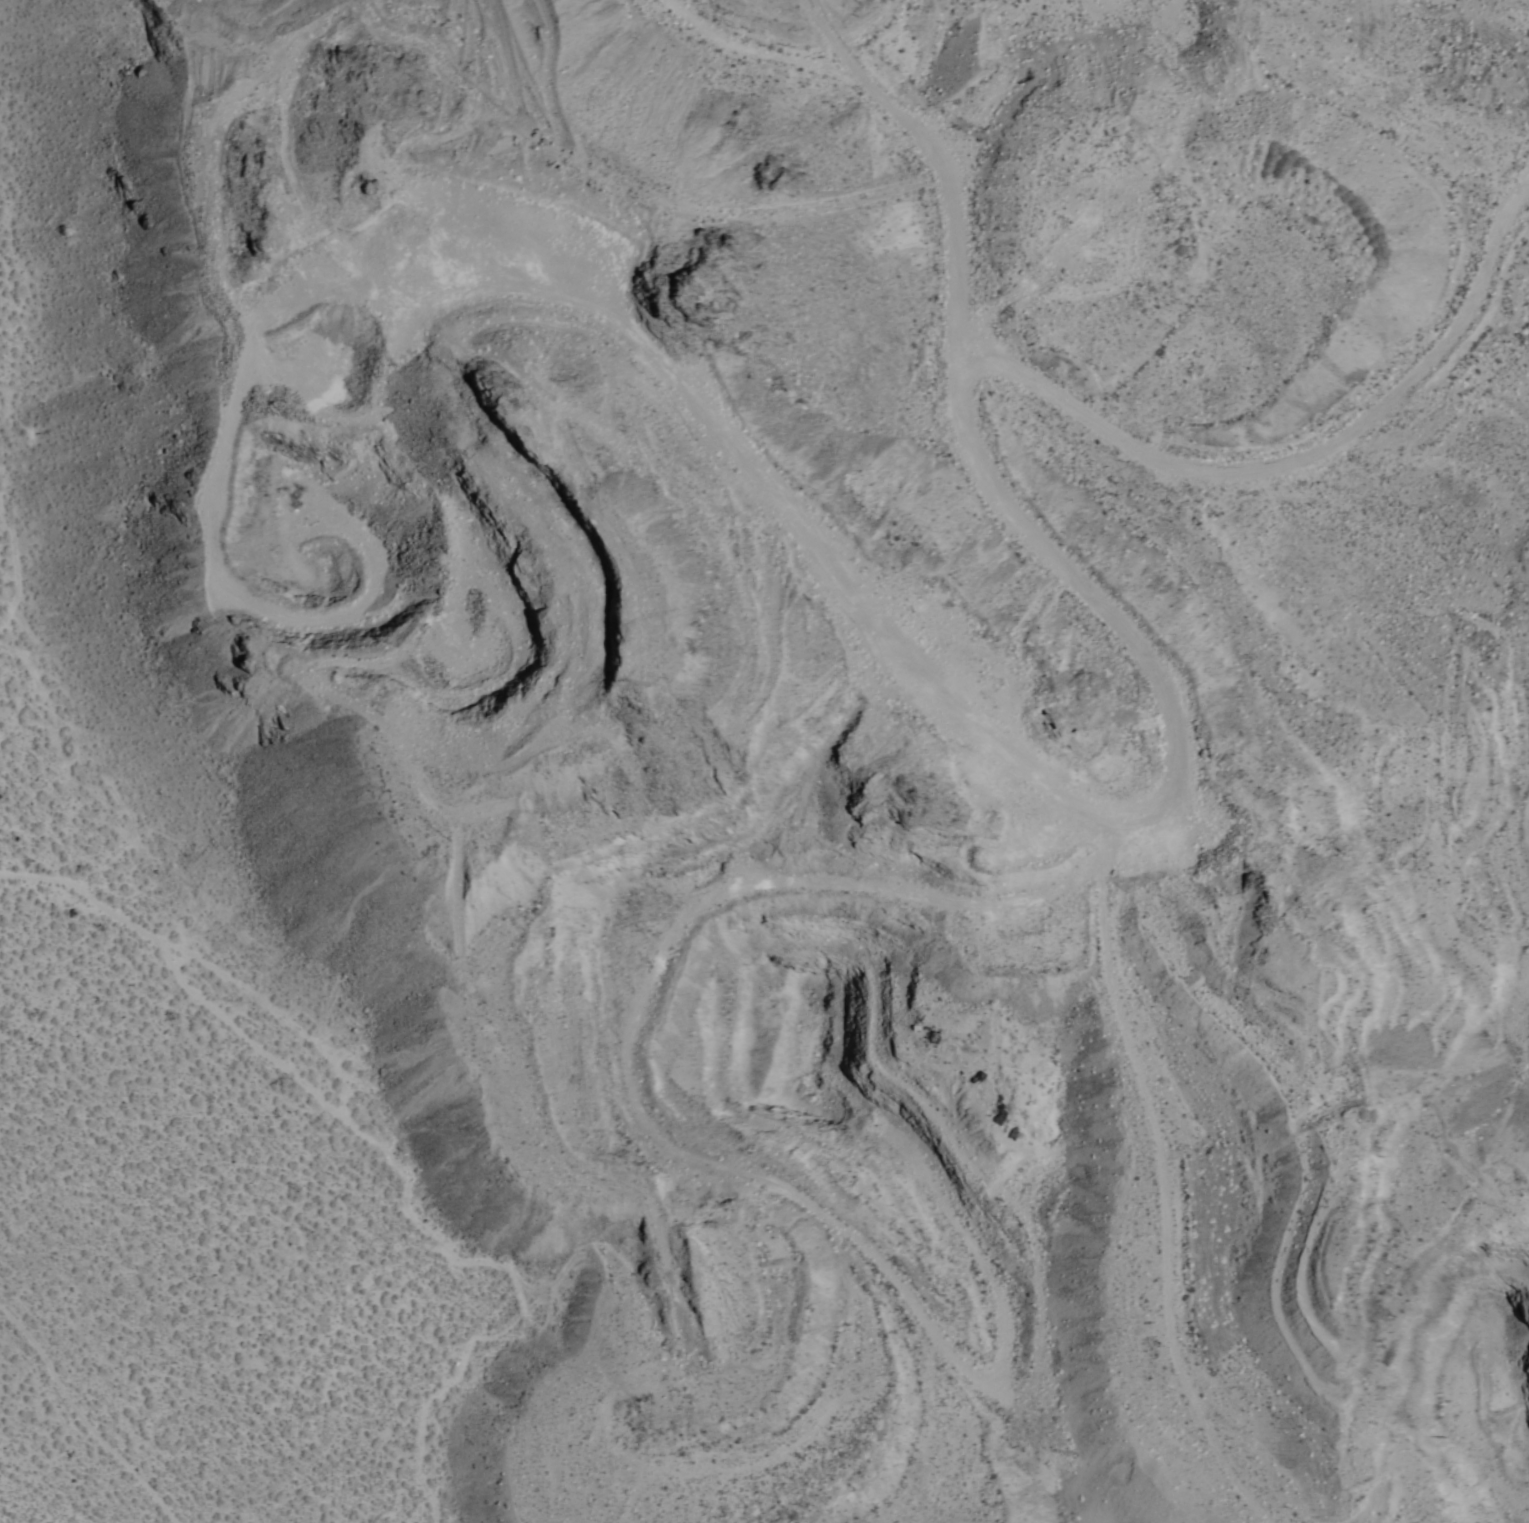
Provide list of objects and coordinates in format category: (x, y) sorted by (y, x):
road: (1300, 463)
road: (870, 610)

